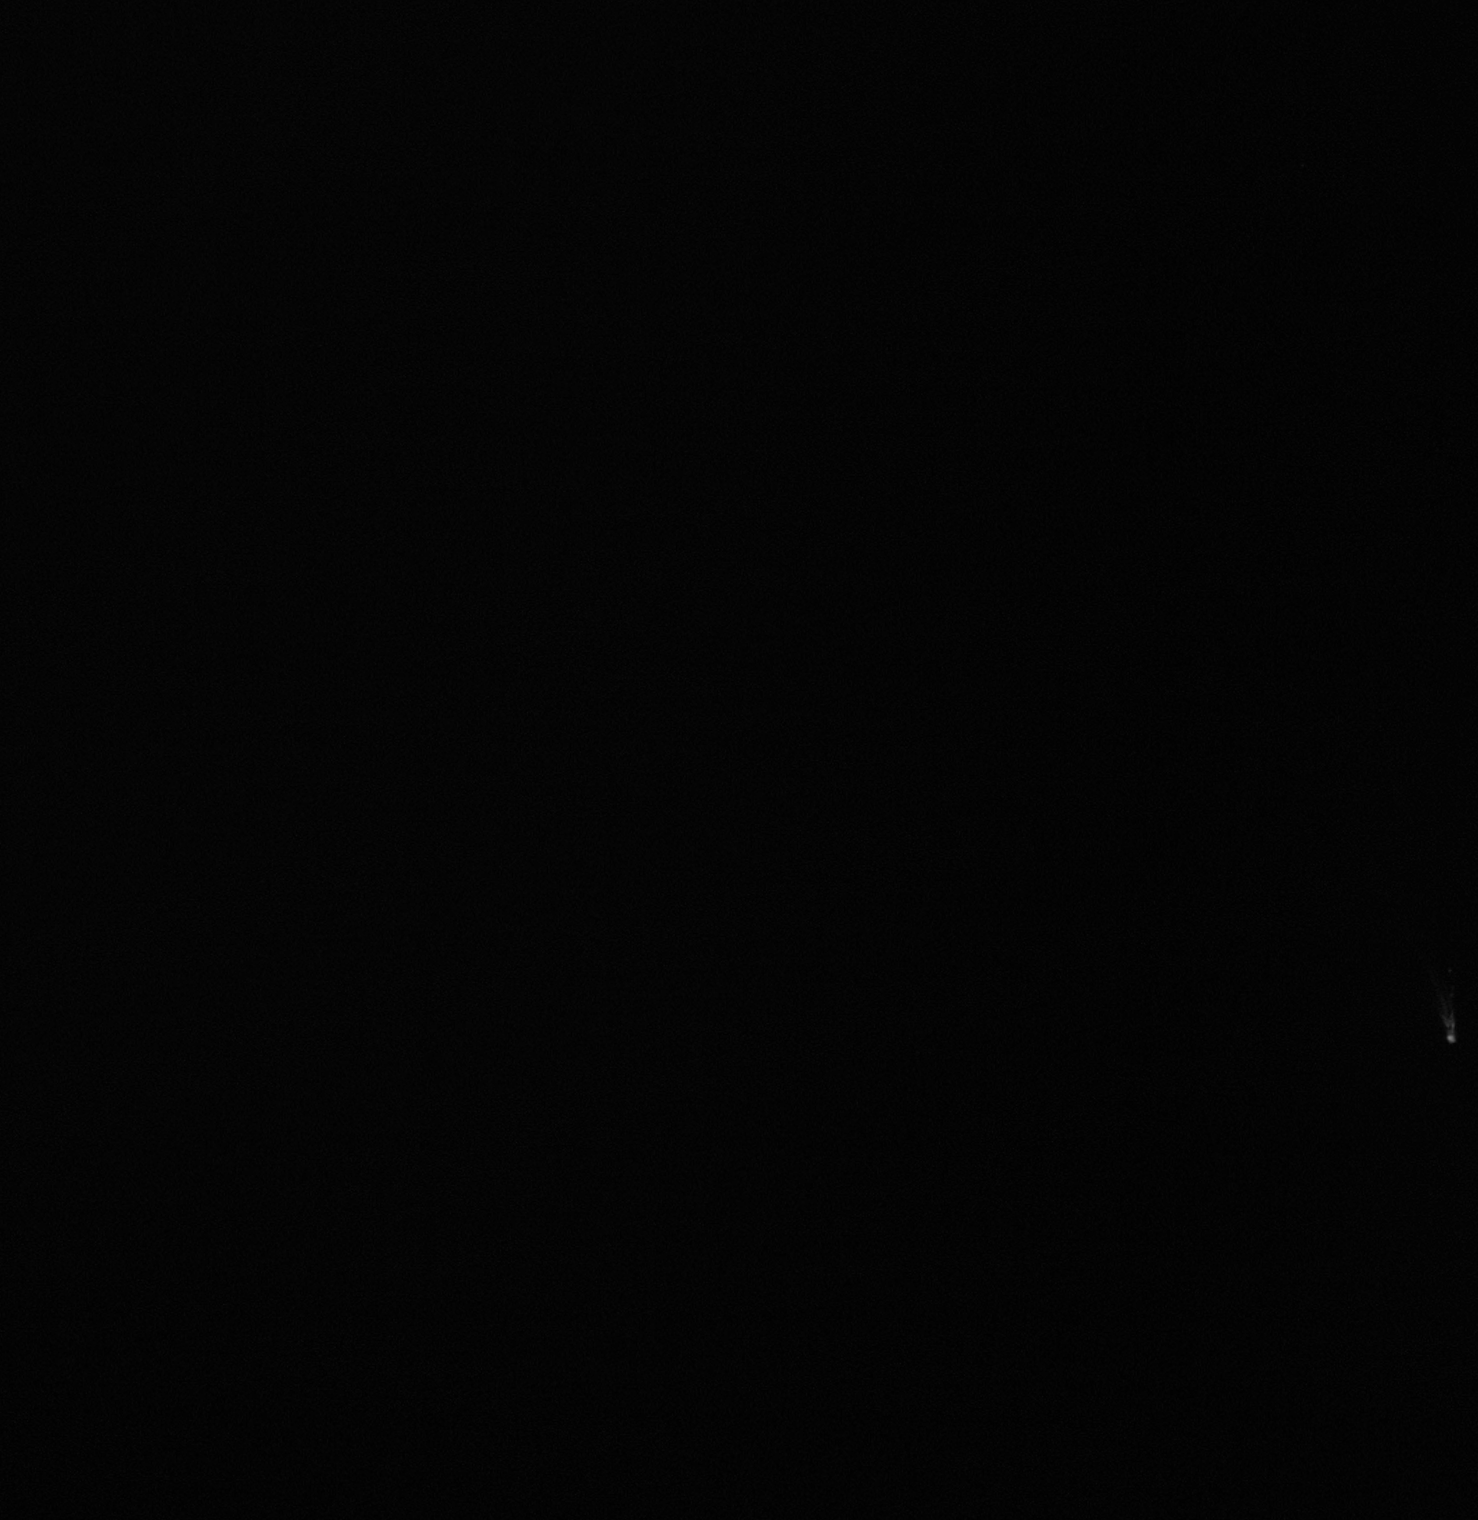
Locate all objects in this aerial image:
river: (329, 575)

